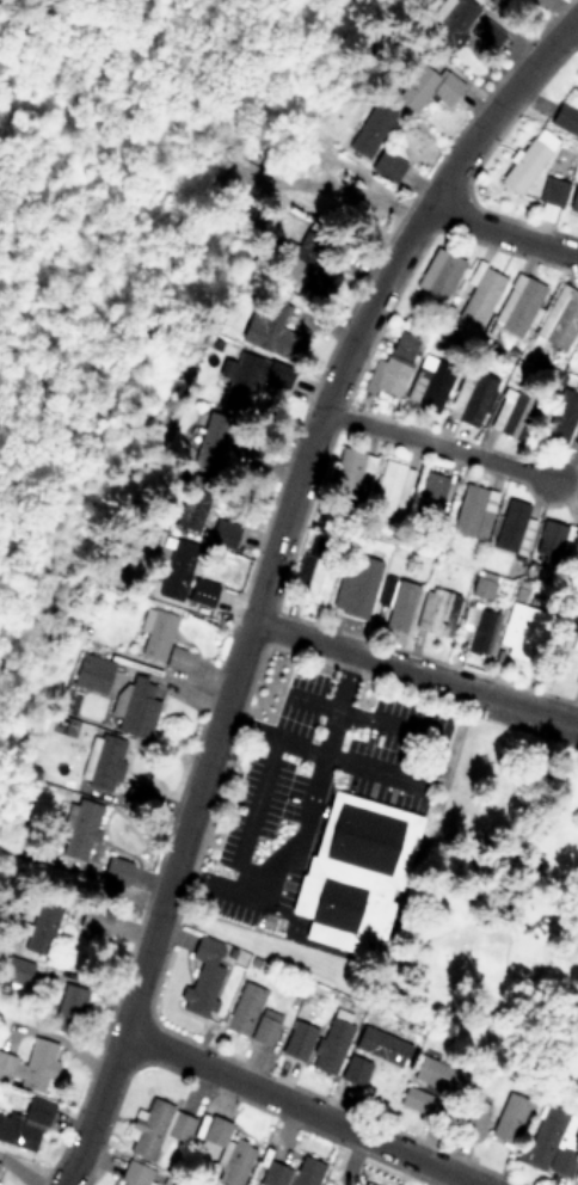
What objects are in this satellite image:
building: (467, 30)
building: (426, 87)
building: (565, 118)
building: (371, 130)
building: (386, 165)
building: (523, 165)
building: (552, 191)
building: (573, 199)
road: (502, 232)
building: (439, 272)
building: (310, 275)
building: (480, 296)
building: (518, 305)
building: (559, 318)
building: (269, 329)
building: (392, 367)
building: (254, 376)
building: (429, 382)
building: (474, 398)
building: (511, 412)
building: (558, 419)
building: (210, 442)
building: (576, 443)
road: (439, 444)
building: (349, 469)
building: (387, 487)
building: (473, 511)
building: (187, 514)
building: (510, 524)
building: (222, 533)
building: (557, 545)
building: (174, 569)
road: (268, 573)
building: (316, 582)
building: (481, 589)
building: (202, 591)
building: (355, 591)
building: (395, 601)
building: (436, 612)
building: (482, 631)
building: (161, 639)
road: (414, 671)
building: (92, 674)
building: (577, 679)
building: (139, 707)
road: (363, 713)
road: (325, 750)
building: (103, 762)
road: (306, 812)
building: (78, 828)
building: (355, 872)
park: (499, 907)
building: (41, 927)
building: (17, 972)
building: (202, 977)
building: (69, 1005)
building: (251, 1015)
building: (299, 1036)
building: (331, 1045)
building: (371, 1055)
building: (5, 1064)
building: (39, 1066)
building: (441, 1076)
building: (413, 1099)
road: (303, 1106)
building: (508, 1118)
building: (472, 1119)
building: (25, 1124)
building: (156, 1128)
building: (552, 1142)
building: (227, 1153)
building: (290, 1173)
building: (135, 1174)
building: (367, 1184)

